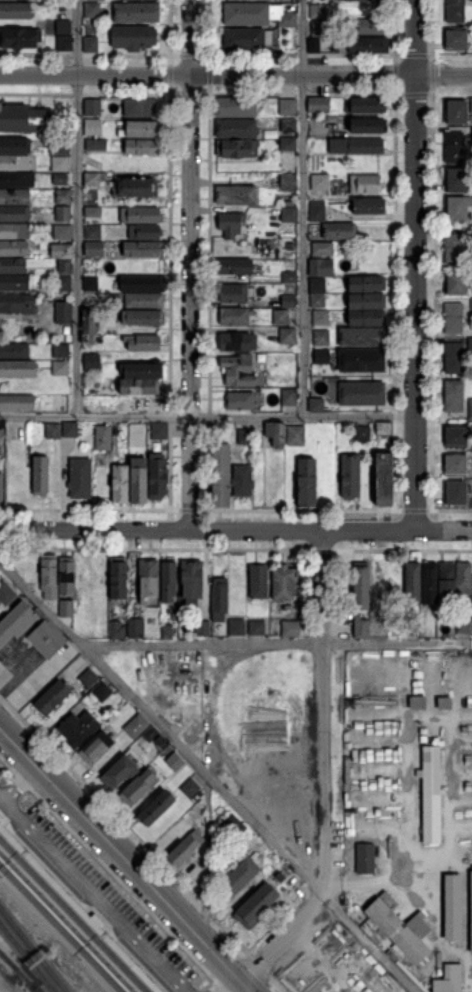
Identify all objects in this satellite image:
building: (97, 0)
building: (362, 0)
building: (471, 0)
building: (92, 10)
building: (15, 11)
building: (455, 11)
building: (137, 12)
building: (318, 12)
building: (258, 15)
building: (63, 27)
building: (369, 27)
building: (321, 28)
building: (133, 37)
building: (20, 38)
building: (458, 38)
building: (247, 39)
building: (65, 44)
building: (88, 45)
building: (314, 45)
building: (368, 45)
road: (236, 74)
building: (470, 104)
building: (320, 105)
building: (365, 105)
building: (287, 106)
building: (91, 107)
building: (236, 107)
building: (139, 108)
building: (260, 113)
building: (456, 113)
building: (26, 120)
building: (288, 125)
building: (368, 126)
building: (92, 127)
building: (141, 129)
building: (236, 129)
building: (471, 134)
building: (95, 145)
building: (288, 145)
building: (356, 146)
building: (455, 146)
building: (13, 147)
building: (59, 147)
building: (144, 147)
building: (237, 148)
building: (14, 163)
building: (60, 164)
building: (17, 179)
building: (93, 179)
building: (455, 181)
building: (60, 182)
building: (288, 182)
building: (320, 182)
building: (365, 184)
building: (136, 188)
building: (236, 195)
building: (15, 197)
building: (64, 197)
road: (77, 207)
road: (304, 207)
building: (369, 207)
building: (456, 208)
building: (317, 211)
building: (92, 213)
building: (14, 214)
building: (63, 214)
building: (141, 215)
building: (289, 215)
building: (231, 226)
building: (14, 231)
building: (62, 232)
building: (93, 232)
building: (339, 232)
building: (144, 233)
building: (14, 248)
building: (94, 249)
building: (454, 249)
building: (144, 250)
building: (322, 250)
building: (62, 251)
road: (416, 264)
road: (190, 265)
building: (13, 266)
building: (232, 267)
building: (320, 267)
building: (65, 268)
building: (290, 277)
building: (14, 282)
building: (90, 282)
building: (456, 283)
building: (63, 284)
building: (142, 284)
building: (367, 284)
building: (317, 286)
building: (232, 294)
building: (144, 301)
building: (318, 301)
building: (367, 301)
building: (289, 302)
building: (470, 302)
building: (17, 304)
building: (94, 306)
building: (63, 313)
building: (234, 317)
building: (281, 317)
building: (455, 317)
building: (143, 318)
building: (321, 318)
building: (367, 318)
building: (89, 326)
building: (67, 331)
building: (288, 336)
building: (362, 337)
building: (321, 338)
building: (69, 339)
building: (238, 342)
building: (142, 343)
building: (469, 346)
building: (61, 349)
building: (14, 352)
building: (322, 356)
building: (454, 358)
building: (362, 361)
building: (92, 363)
building: (17, 369)
building: (61, 369)
building: (238, 370)
building: (142, 371)
building: (87, 384)
building: (139, 387)
building: (362, 394)
building: (453, 396)
building: (290, 398)
building: (240, 401)
building: (17, 402)
building: (91, 404)
building: (145, 404)
building: (317, 404)
building: (470, 410)
road: (207, 415)
building: (350, 426)
building: (70, 429)
building: (384, 429)
building: (1, 430)
building: (53, 431)
building: (17, 432)
building: (160, 432)
building: (276, 434)
building: (362, 434)
building: (296, 436)
building: (456, 436)
building: (103, 438)
building: (245, 438)
building: (470, 440)
building: (1, 450)
building: (258, 453)
building: (455, 463)
building: (40, 476)
building: (221, 476)
building: (158, 477)
building: (350, 477)
building: (80, 479)
building: (139, 480)
building: (384, 480)
building: (243, 481)
building: (307, 482)
building: (120, 484)
building: (17, 487)
building: (1, 490)
building: (456, 492)
road: (208, 530)
road: (444, 530)
building: (48, 570)
building: (66, 576)
building: (118, 579)
building: (463, 579)
building: (168, 580)
building: (447, 580)
building: (191, 581)
building: (258, 581)
building: (378, 582)
building: (284, 583)
building: (413, 583)
building: (429, 583)
building: (149, 584)
building: (361, 585)
building: (6, 594)
building: (52, 597)
building: (219, 599)
building: (66, 608)
building: (16, 622)
building: (412, 623)
building: (464, 625)
building: (359, 627)
building: (237, 628)
building: (257, 628)
building: (377, 628)
building: (135, 629)
building: (202, 629)
building: (287, 629)
building: (167, 632)
building: (117, 633)
building: (46, 640)
road: (275, 643)
parking lot: (22, 672)
building: (88, 678)
building: (102, 693)
building: (52, 698)
building: (135, 724)
building: (79, 728)
building: (148, 732)
building: (160, 741)
building: (96, 748)
building: (175, 763)
parking lot: (0, 766)
road: (326, 769)
building: (119, 772)
road: (208, 776)
road: (20, 783)
building: (139, 788)
building: (190, 788)
building: (431, 793)
building: (157, 808)
building: (197, 815)
building: (0, 817)
road: (6, 818)
building: (233, 828)
building: (185, 849)
road: (120, 851)
building: (365, 859)
road: (208, 860)
road: (45, 864)
road: (114, 873)
building: (191, 873)
building: (243, 877)
building: (296, 885)
road: (95, 894)
parking lot: (102, 894)
road: (85, 903)
railway: (83, 905)
building: (255, 906)
building: (453, 907)
railway: (77, 911)
building: (471, 912)
railway: (73, 915)
railway: (72, 916)
railway: (69, 920)
railway: (65, 924)
railway: (62, 927)
railway: (61, 928)
building: (399, 930)
road: (131, 948)
railway: (33, 949)
building: (392, 956)
railway: (27, 957)
railway: (8, 960)
railway: (8, 961)
building: (449, 979)
railway: (28, 980)
road: (221, 980)
road: (248, 984)
railway: (34, 987)

